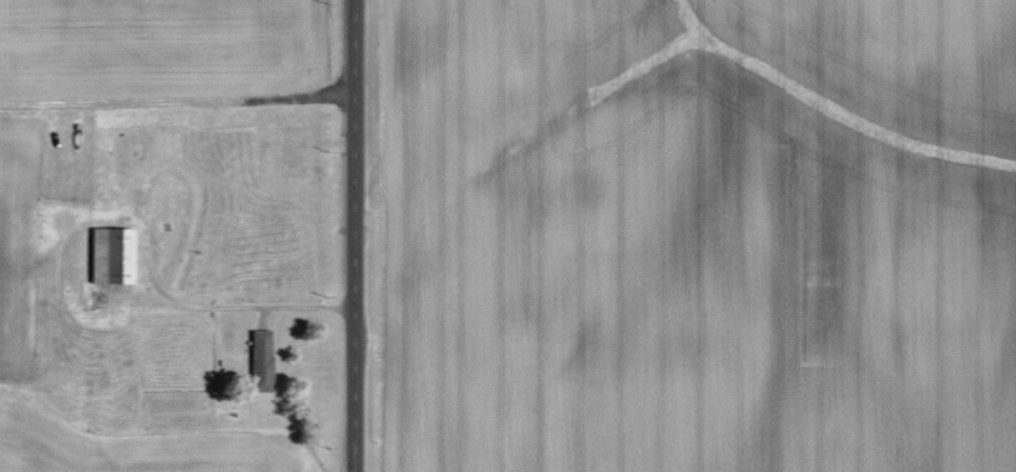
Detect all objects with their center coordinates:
road: (357, 235)
building: (114, 255)
road: (226, 307)
building: (263, 360)

